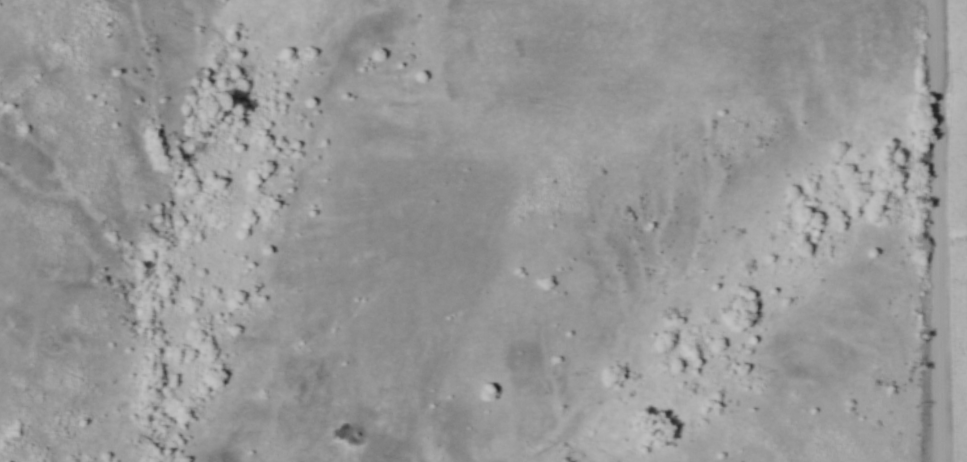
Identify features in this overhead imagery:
road: (940, 231)

